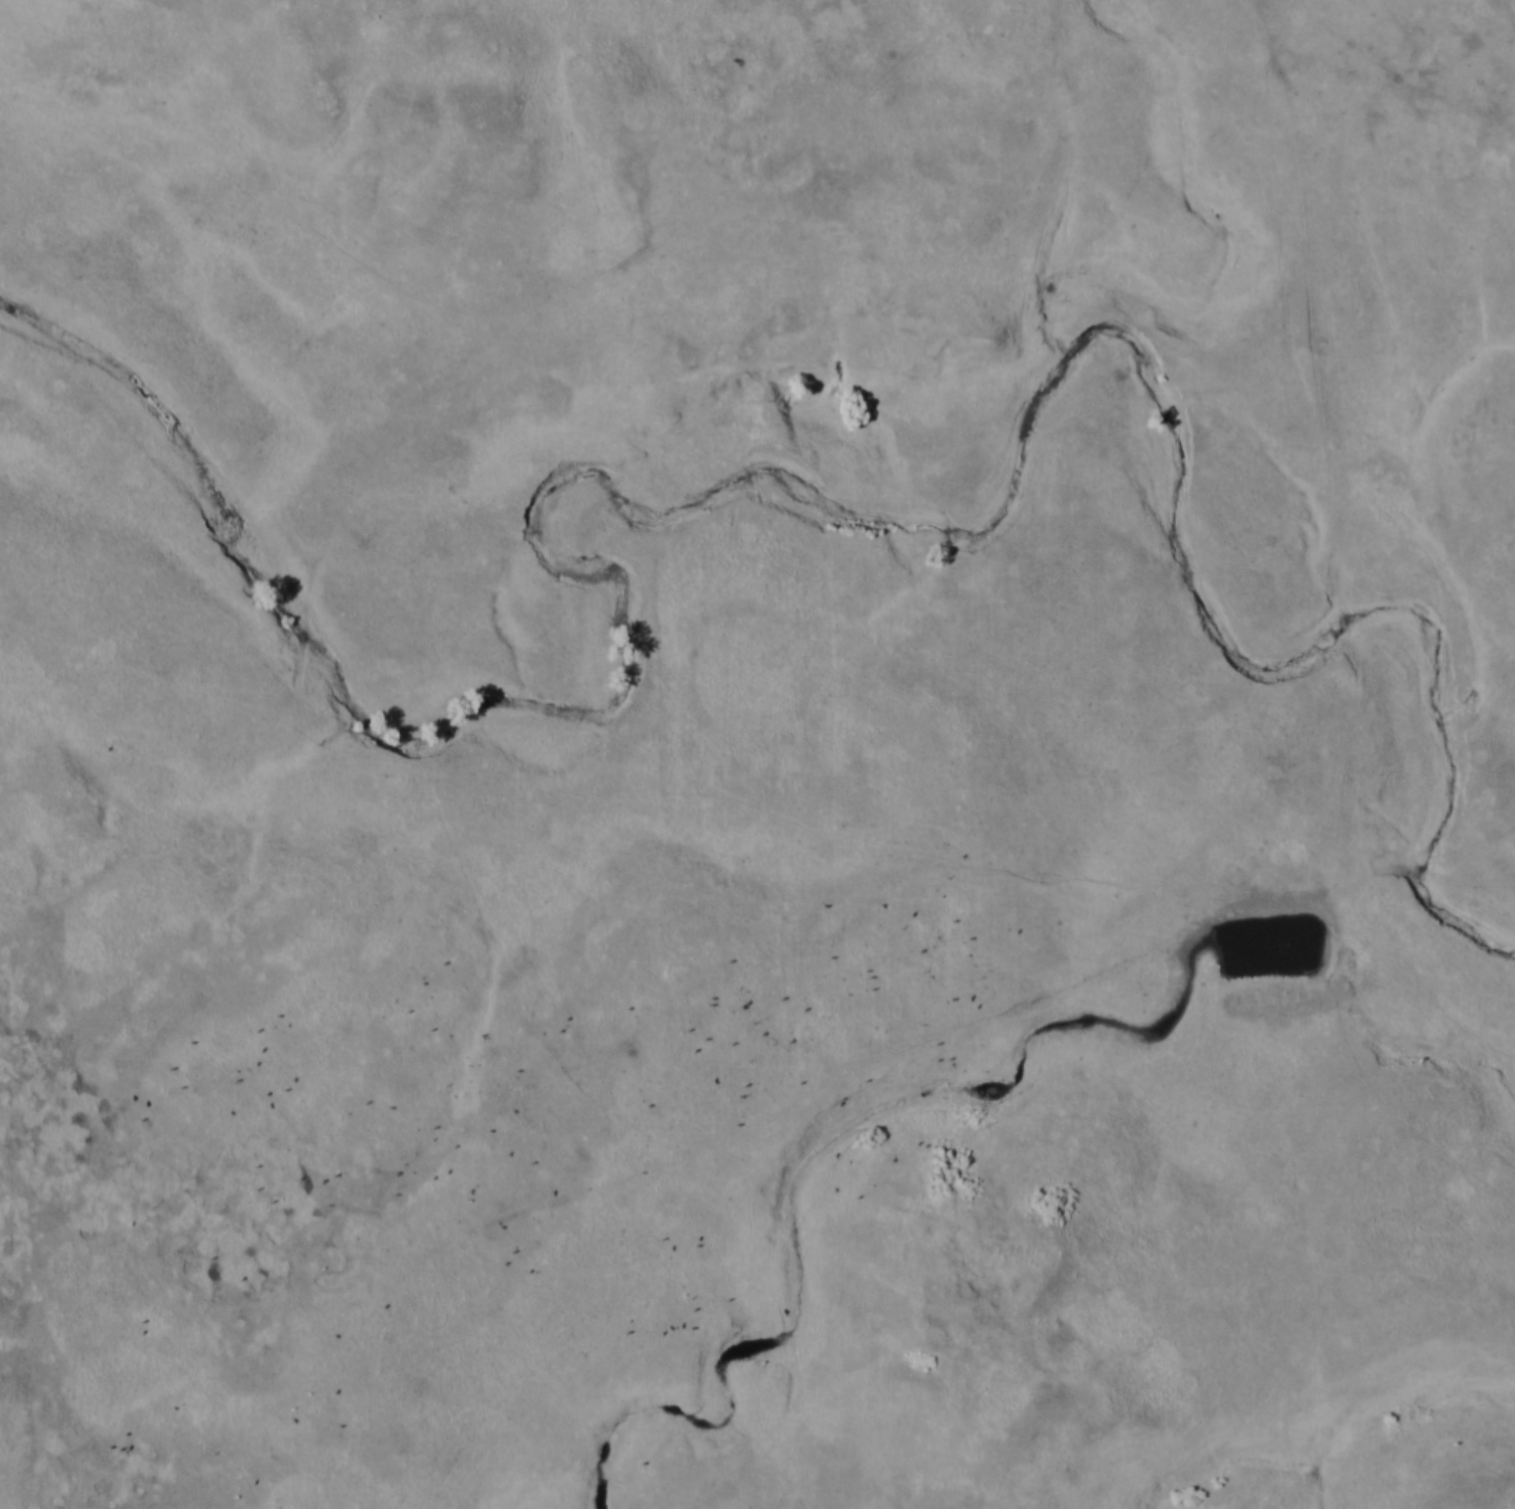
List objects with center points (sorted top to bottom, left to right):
road: (1395, 73)
road: (1312, 299)

